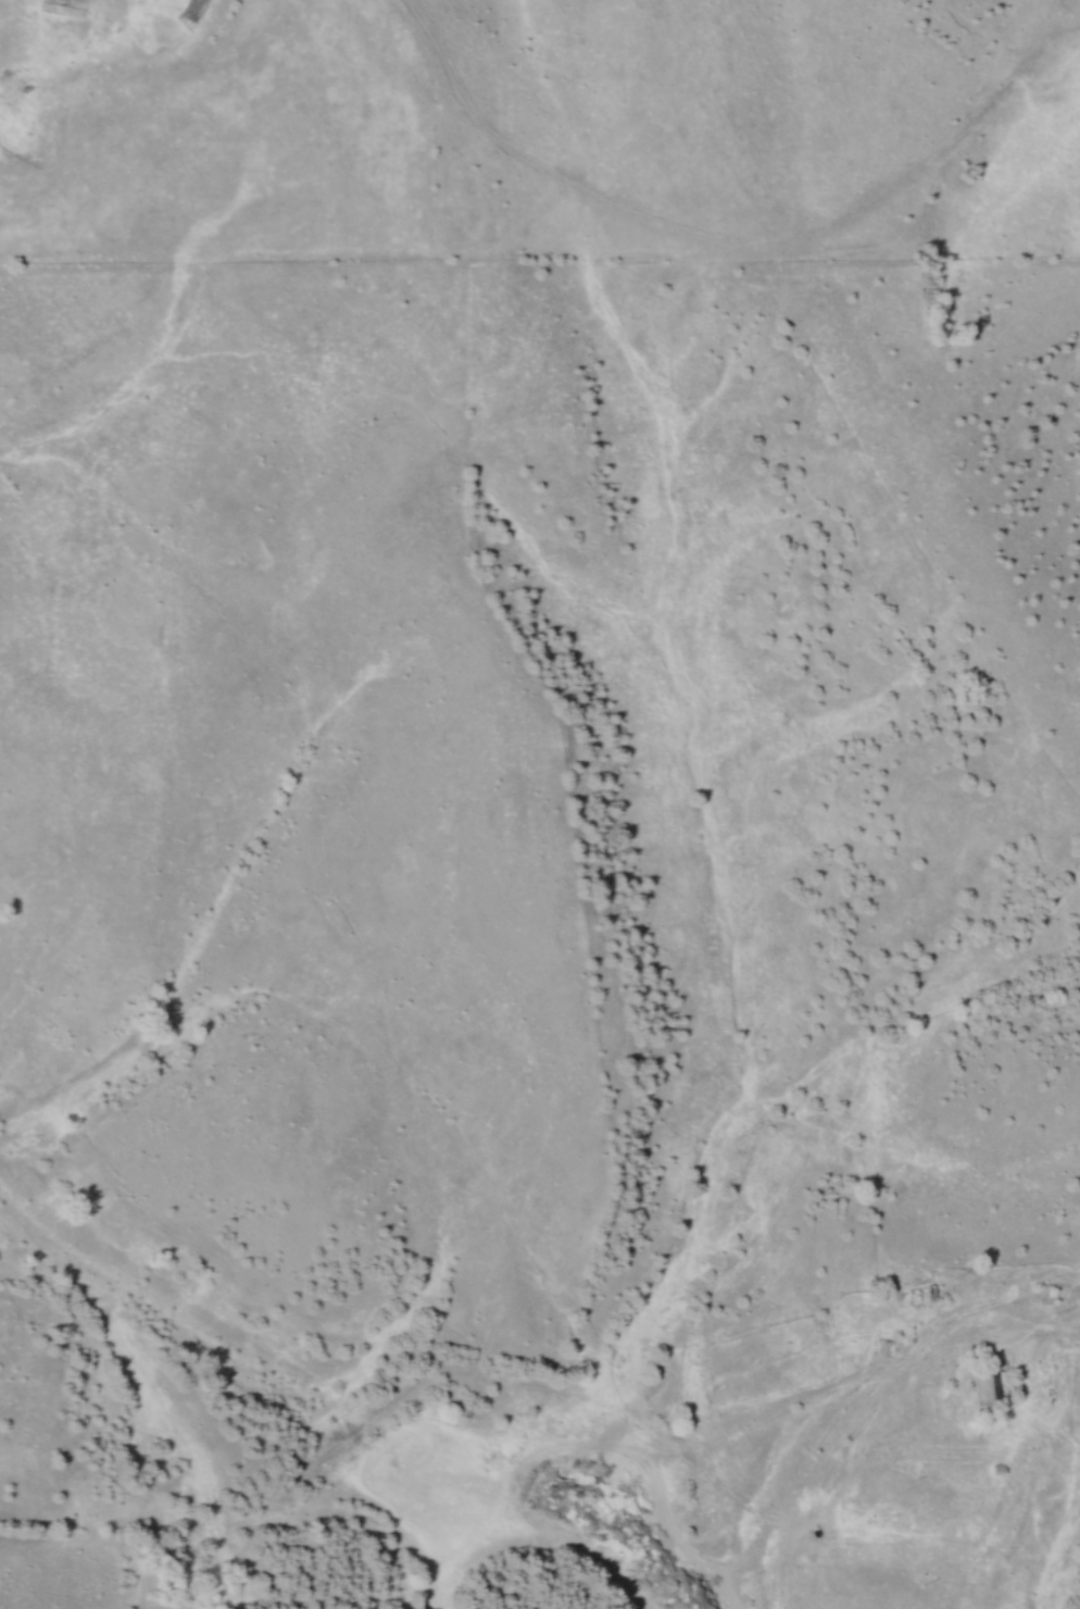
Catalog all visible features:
building: (65, 4)
building: (886, 1347)
building: (982, 1388)
road: (828, 1454)

